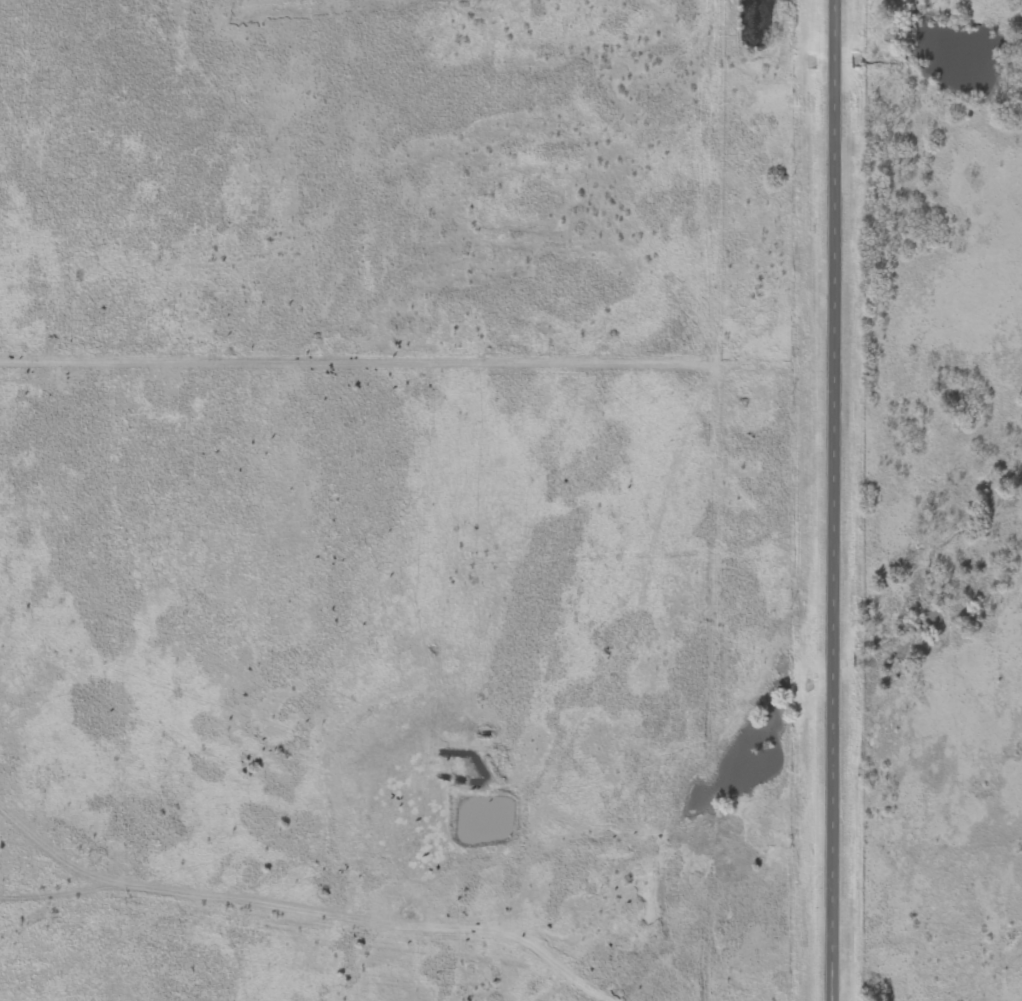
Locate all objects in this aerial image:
road: (832, 500)

